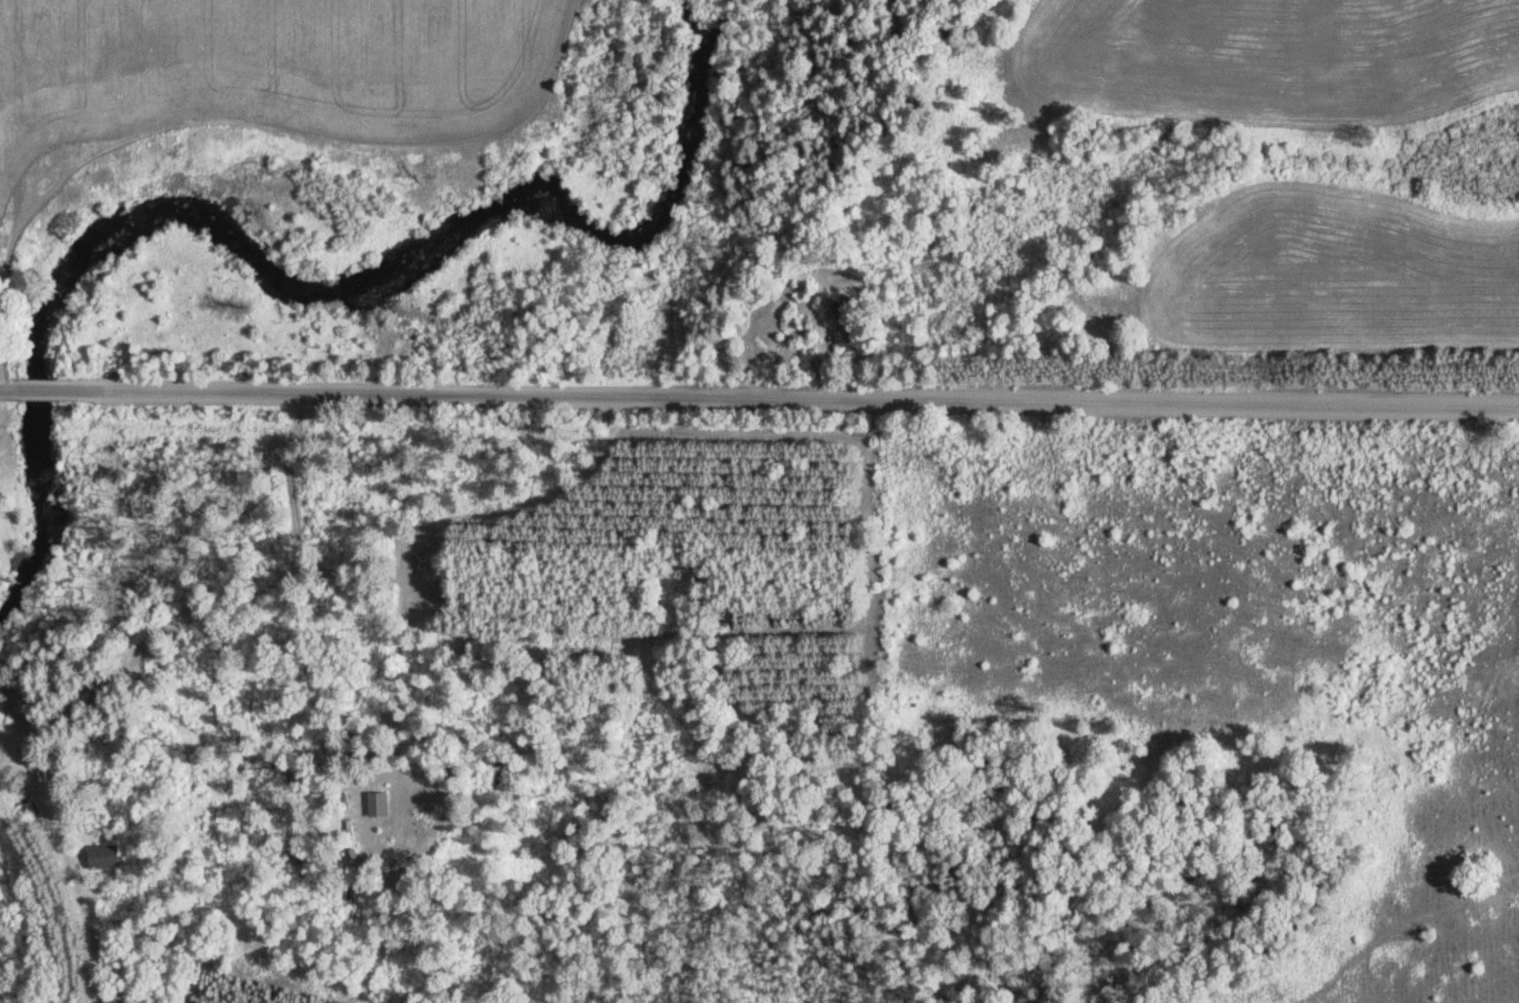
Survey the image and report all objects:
building: (16, 116)
river: (294, 294)
road: (19, 391)
road: (778, 401)
building: (101, 855)
road: (686, 935)

